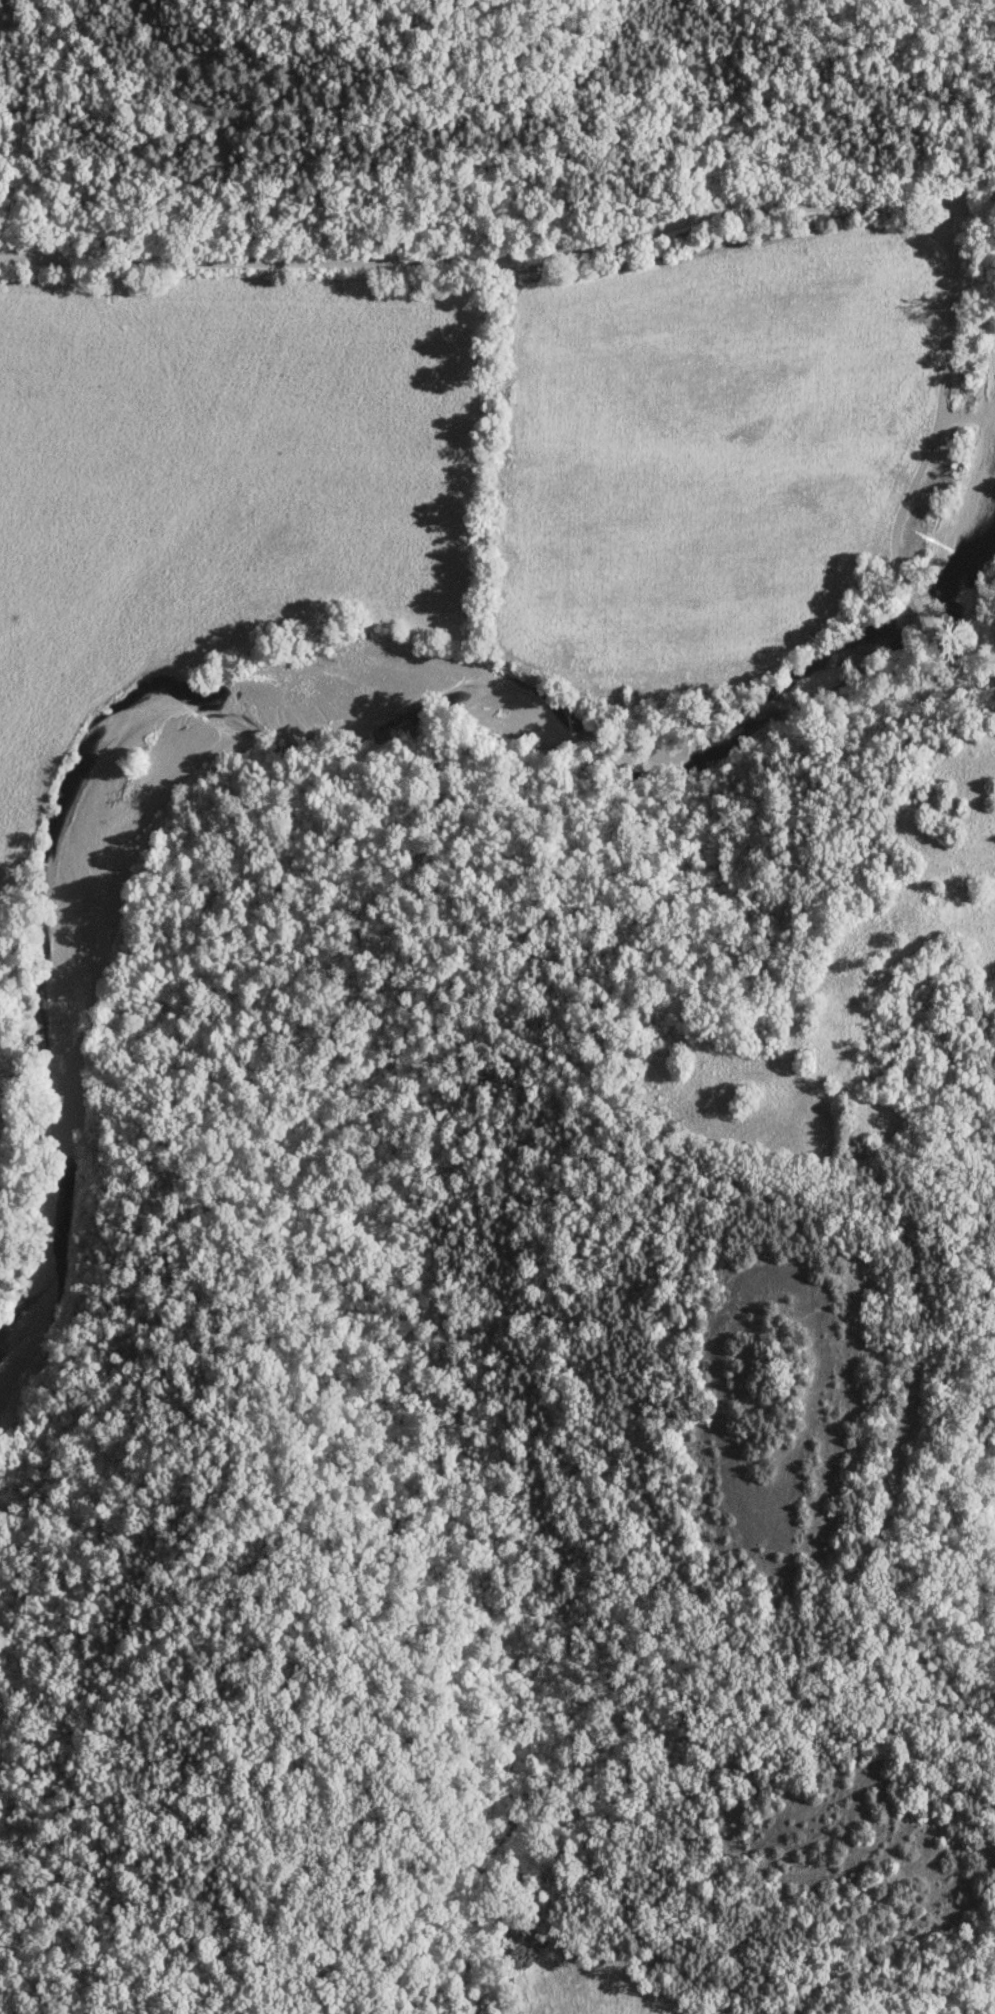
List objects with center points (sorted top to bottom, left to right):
road: (501, 258)
road: (919, 466)

